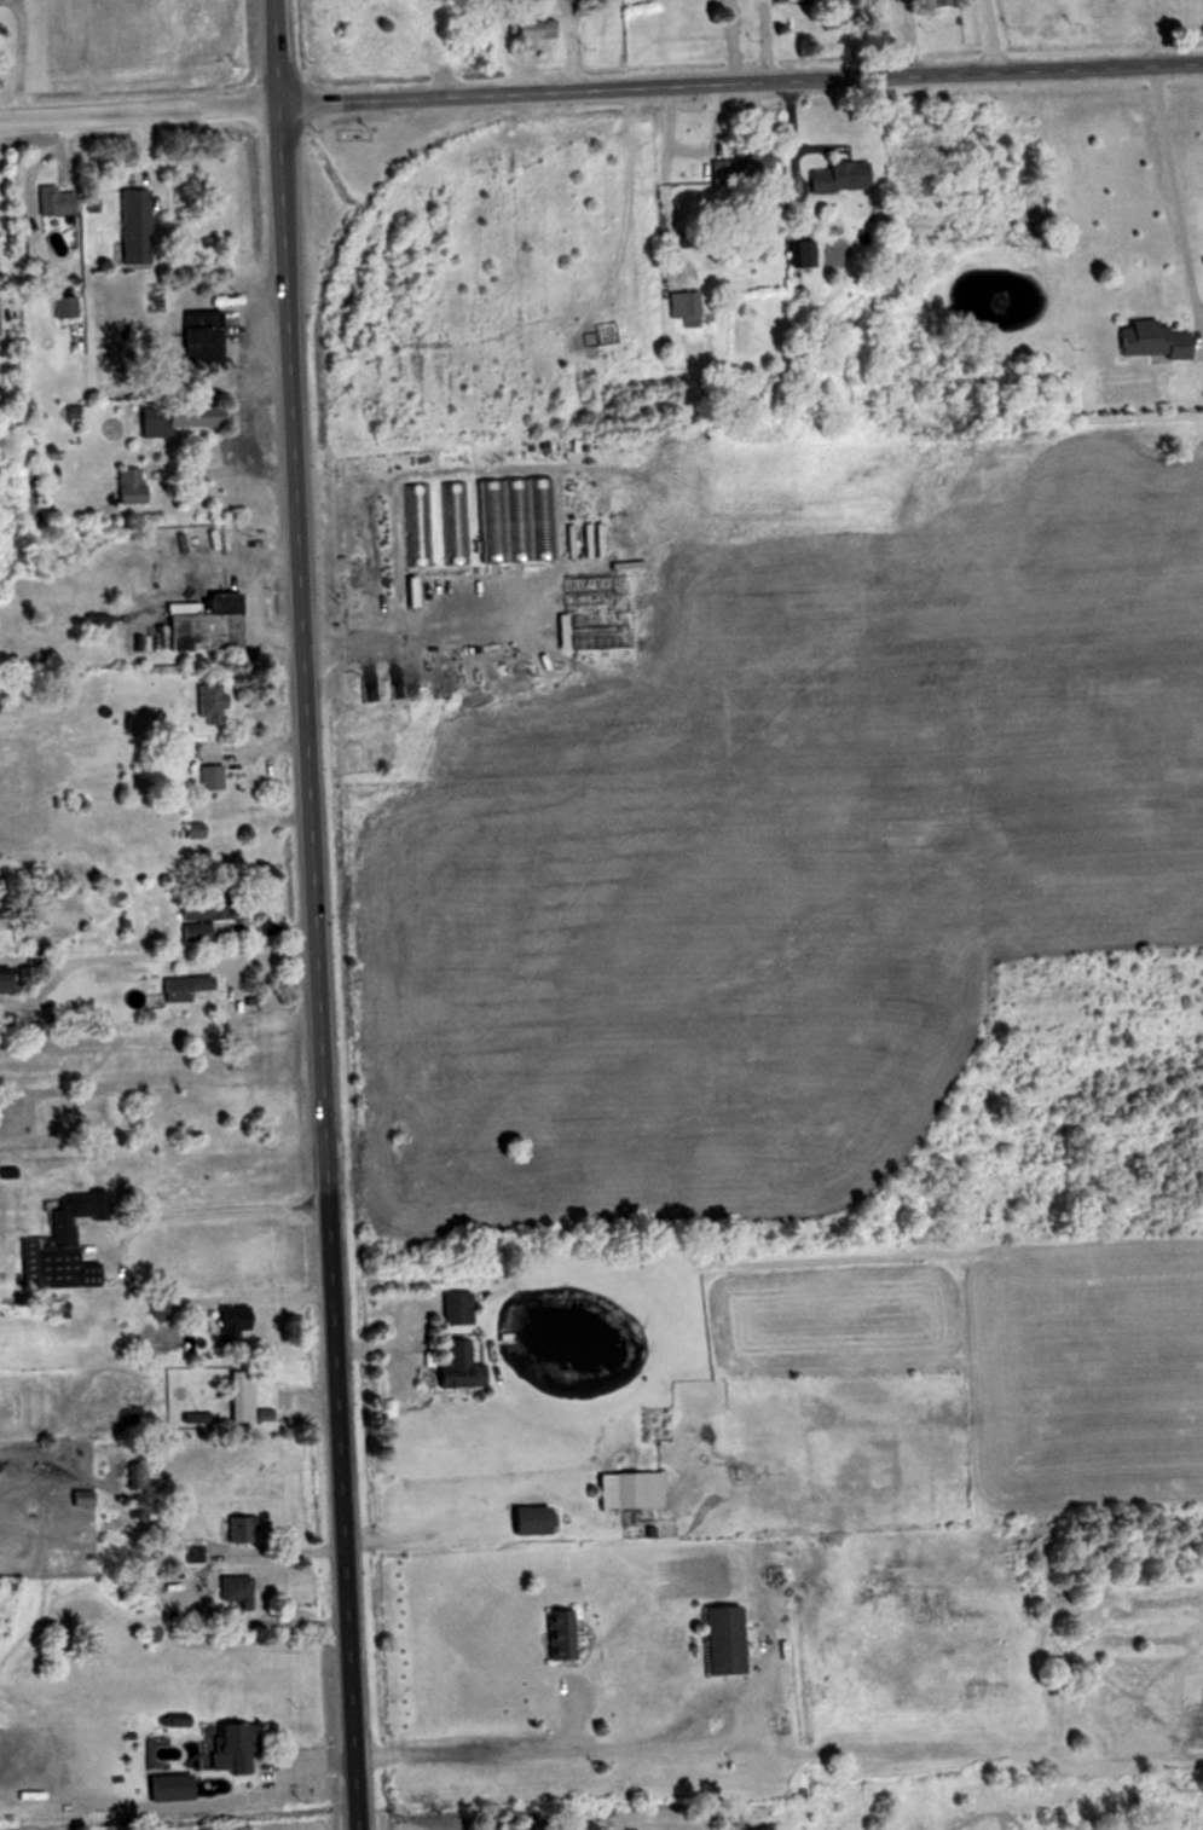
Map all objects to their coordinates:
building: (937, 2)
building: (528, 24)
road: (988, 36)
road: (758, 41)
road: (601, 91)
road: (686, 149)
building: (751, 161)
building: (834, 176)
building: (53, 201)
road: (1179, 203)
building: (131, 226)
building: (799, 253)
building: (682, 306)
building: (62, 307)
building: (196, 336)
building: (1146, 340)
building: (170, 419)
road: (239, 439)
road: (204, 470)
building: (126, 486)
building: (544, 522)
building: (492, 523)
building: (520, 523)
building: (451, 526)
building: (413, 527)
building: (201, 624)
road: (415, 630)
building: (453, 665)
building: (206, 703)
building: (208, 777)
building: (192, 830)
road: (310, 915)
building: (193, 921)
road: (148, 954)
building: (10, 979)
building: (180, 986)
road: (202, 1209)
building: (53, 1246)
road: (256, 1293)
building: (453, 1308)
building: (230, 1326)
building: (452, 1368)
building: (244, 1400)
building: (135, 1477)
building: (626, 1492)
building: (81, 1499)
building: (525, 1522)
building: (236, 1531)
road: (195, 1581)
building: (233, 1592)
building: (554, 1635)
building: (718, 1641)
road: (715, 1736)
building: (226, 1745)
road: (474, 1745)
building: (164, 1785)

